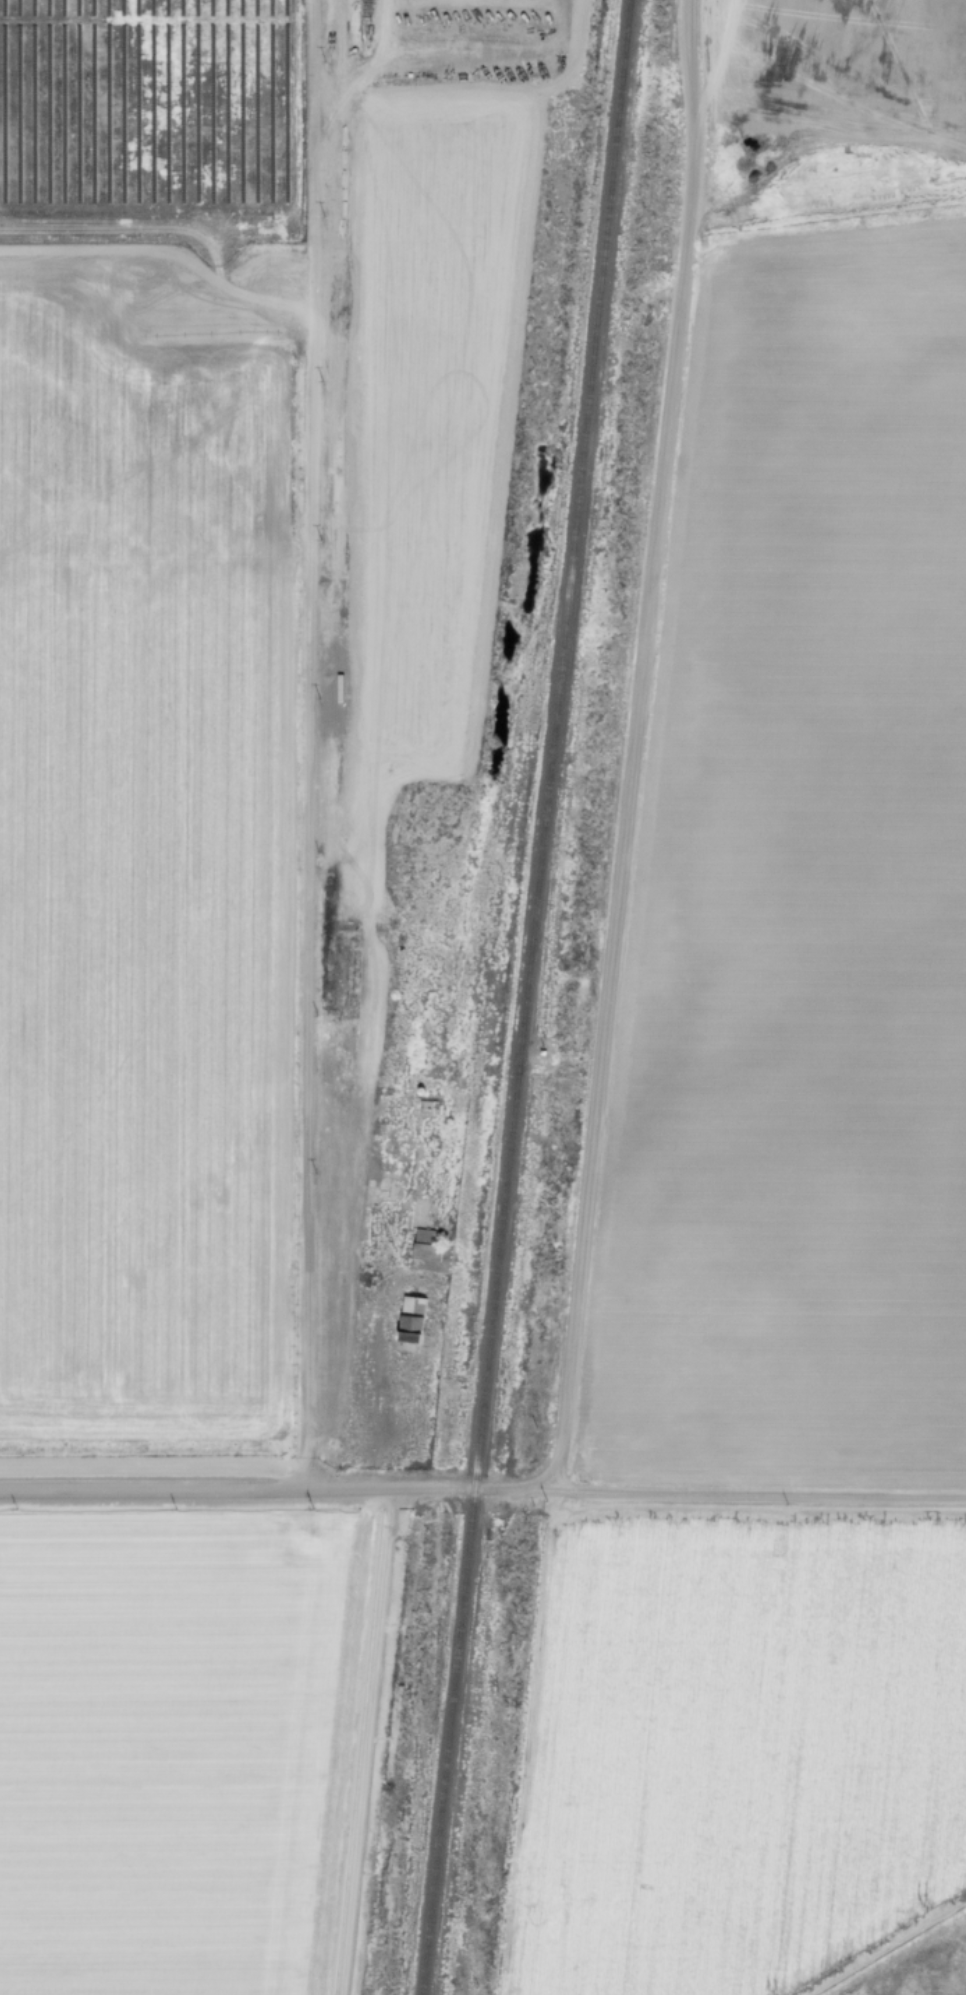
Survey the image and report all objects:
road: (317, 59)
road: (363, 68)
solar farm: (152, 123)
road: (633, 748)
road: (306, 810)
railway: (525, 997)
building: (396, 1081)
storage tank: (396, 1081)
building: (428, 1109)
building: (424, 1233)
road: (336, 1245)
building: (432, 1256)
building: (363, 1274)
building: (411, 1317)
road: (267, 1491)
road: (750, 1491)
road: (368, 1740)

